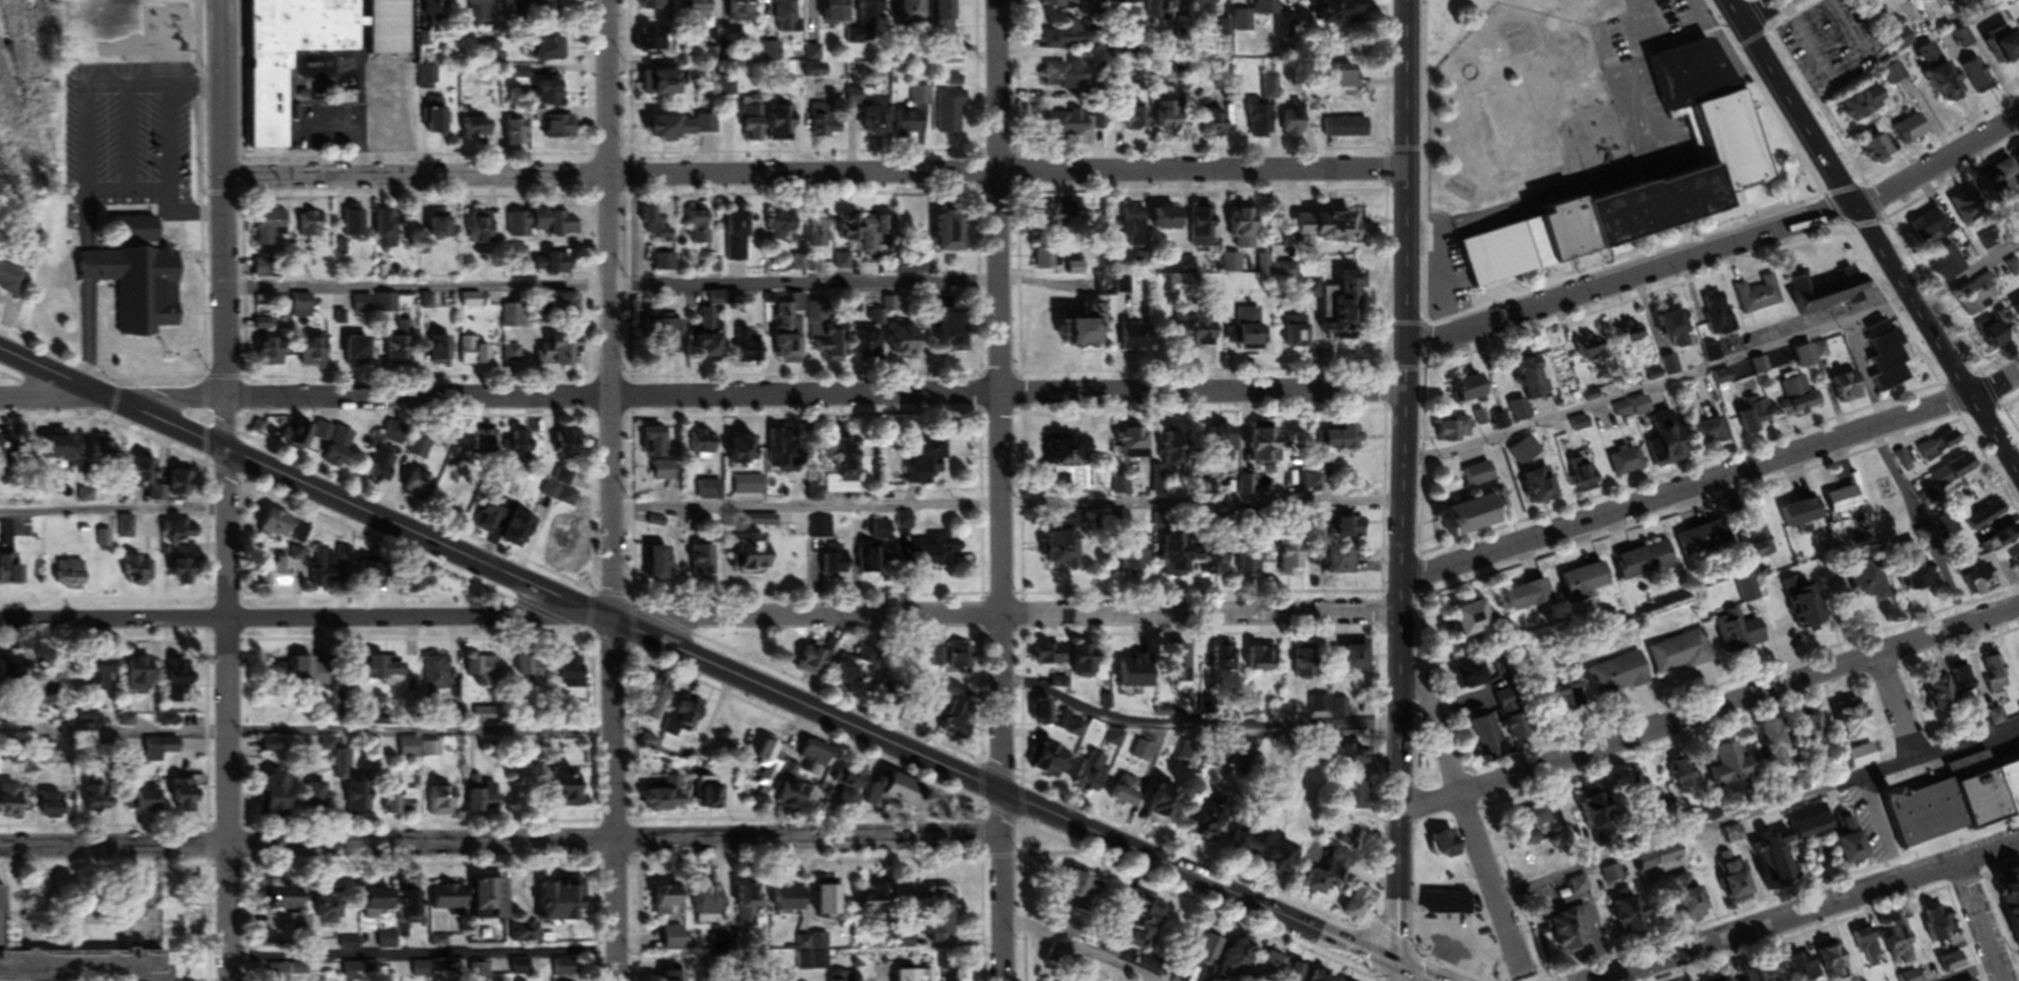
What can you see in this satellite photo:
building: (545, 3)
building: (1211, 3)
building: (1121, 4)
building: (1063, 6)
building: (653, 9)
building: (1158, 9)
building: (1261, 10)
road: (1761, 11)
building: (742, 12)
building: (871, 13)
building: (435, 14)
building: (482, 14)
building: (836, 14)
building: (913, 14)
building: (700, 15)
building: (1341, 15)
building: (787, 18)
building: (943, 19)
building: (389, 29)
building: (1068, 40)
building: (1902, 40)
building: (654, 43)
building: (2003, 46)
building: (552, 54)
building: (1348, 74)
building: (1973, 77)
building: (1067, 78)
building: (1949, 86)
building: (663, 87)
building: (726, 89)
building: (1269, 92)
building: (553, 96)
building: (920, 100)
building: (1866, 105)
building: (270, 112)
building: (391, 116)
building: (950, 116)
building: (439, 119)
building: (878, 120)
building: (1171, 120)
building: (1137, 122)
building: (753, 124)
building: (1261, 124)
building: (824, 126)
building: (1294, 126)
building: (909, 127)
building: (1074, 127)
building: (1219, 127)
building: (560, 128)
building: (783, 128)
building: (479, 130)
building: (1346, 130)
building: (675, 132)
building: (519, 137)
building: (1728, 147)
building: (1876, 149)
road: (1937, 162)
road: (815, 172)
building: (2007, 172)
building: (1967, 210)
building: (1056, 218)
building: (1170, 222)
building: (653, 223)
building: (355, 226)
building: (556, 226)
building: (313, 227)
building: (388, 227)
building: (519, 227)
building: (782, 227)
building: (442, 228)
building: (698, 228)
building: (1129, 228)
building: (1203, 228)
building: (1329, 228)
building: (270, 229)
building: (849, 229)
building: (1927, 229)
building: (1240, 230)
building: (484, 231)
building: (135, 232)
building: (819, 232)
building: (875, 235)
building: (953, 235)
road: (1873, 238)
building: (737, 240)
building: (1045, 259)
building: (665, 265)
building: (1948, 265)
building: (553, 266)
building: (913, 267)
building: (2012, 271)
road: (1629, 276)
building: (12, 283)
road: (612, 286)
building: (140, 290)
building: (1827, 291)
road: (201, 297)
building: (1975, 297)
building: (1758, 298)
building: (472, 303)
building: (386, 306)
building: (567, 308)
building: (1345, 308)
building: (302, 309)
building: (1719, 314)
building: (513, 317)
building: (876, 320)
building: (1674, 327)
building: (1085, 328)
building: (955, 330)
building: (1200, 332)
building: (1998, 332)
building: (788, 333)
building: (1299, 334)
building: (711, 335)
building: (664, 339)
building: (1137, 339)
building: (1254, 340)
building: (1632, 341)
building: (907, 344)
building: (829, 345)
building: (869, 346)
building: (399, 349)
building: (747, 349)
building: (1592, 349)
building: (359, 352)
building: (442, 352)
building: (563, 353)
building: (273, 354)
building: (314, 354)
building: (473, 355)
building: (514, 356)
building: (1806, 358)
building: (1889, 359)
road: (1716, 365)
building: (1534, 381)
road: (1994, 384)
building: (1474, 390)
building: (1850, 390)
road: (702, 395)
building: (1802, 397)
building: (1520, 413)
building: (1749, 424)
building: (1579, 428)
building: (1456, 432)
building: (301, 436)
building: (1711, 436)
building: (1339, 441)
building: (487, 442)
building: (1668, 443)
building: (569, 445)
building: (703, 445)
building: (1134, 445)
building: (1222, 445)
building: (657, 446)
building: (1268, 446)
building: (1938, 448)
building: (7, 449)
building: (58, 450)
building: (420, 451)
building: (339, 452)
building: (1177, 452)
building: (790, 453)
building: (742, 454)
building: (104, 455)
building: (1524, 455)
building: (1071, 457)
building: (929, 461)
building: (1626, 464)
building: (383, 468)
building: (847, 471)
building: (144, 473)
building: (664, 474)
building: (1952, 474)
building: (1480, 478)
building: (1583, 478)
road: (1405, 482)
building: (181, 486)
building: (1121, 489)
building: (1542, 489)
road: (1687, 489)
road: (227, 490)
building: (559, 490)
road: (612, 490)
road: (1001, 490)
building: (420, 491)
building: (710, 493)
building: (1925, 501)
building: (1843, 502)
road: (1008, 510)
building: (1802, 514)
road: (113, 516)
building: (1478, 517)
building: (1984, 519)
building: (276, 526)
building: (1944, 529)
building: (820, 530)
building: (1354, 530)
building: (523, 532)
building: (568, 541)
building: (1702, 542)
building: (1756, 546)
building: (1063, 551)
building: (755, 555)
building: (940, 556)
building: (1293, 556)
building: (1179, 558)
building: (872, 560)
building: (295, 562)
building: (837, 562)
building: (1136, 563)
building: (1236, 563)
building: (1345, 563)
building: (1645, 563)
building: (704, 565)
building: (662, 566)
building: (1919, 566)
building: (2015, 566)
building: (139, 574)
building: (11, 575)
building: (183, 576)
building: (71, 577)
building: (373, 578)
building: (1980, 583)
building: (415, 584)
building: (1584, 584)
building: (1869, 585)
building: (1746, 590)
building: (1530, 598)
building: (1802, 607)
road: (1007, 613)
road: (306, 617)
building: (1474, 622)
building: (1738, 633)
building: (1679, 655)
road: (698, 657)
building: (1050, 657)
building: (950, 659)
building: (1356, 659)
building: (1265, 660)
building: (1087, 663)
building: (1306, 664)
building: (815, 665)
building: (300, 672)
building: (854, 672)
building: (484, 673)
building: (530, 673)
building: (381, 674)
building: (140, 675)
building: (1993, 675)
building: (573, 676)
building: (1137, 677)
building: (1475, 677)
building: (101, 678)
building: (436, 678)
building: (1616, 678)
building: (14, 679)
building: (55, 679)
building: (179, 687)
building: (1942, 694)
building: (893, 695)
building: (656, 700)
building: (1321, 707)
road: (1895, 708)
road: (1711, 711)
building: (1047, 715)
building: (87, 720)
building: (1995, 720)
building: (681, 721)
building: (1856, 721)
building: (61, 726)
road: (1183, 726)
building: (1513, 726)
building: (1816, 730)
building: (954, 732)
road: (306, 736)
building: (1487, 740)
building: (1115, 742)
building: (159, 751)
building: (409, 751)
building: (1144, 755)
building: (773, 756)
building: (1189, 757)
building: (1360, 758)
building: (1754, 759)
building: (1863, 759)
building: (815, 762)
building: (1056, 764)
building: (1681, 775)
building: (1094, 776)
building: (569, 791)
building: (853, 792)
building: (1127, 794)
building: (903, 797)
building: (276, 798)
building: (317, 798)
building: (670, 798)
building: (188, 799)
building: (712, 799)
building: (795, 799)
building: (1959, 799)
building: (1357, 800)
building: (148, 801)
building: (361, 801)
building: (486, 802)
building: (442, 803)
building: (402, 804)
building: (12, 805)
building: (1167, 806)
building: (56, 808)
building: (106, 808)
road: (1758, 812)
building: (1596, 815)
parking lot: (1875, 819)
road: (1469, 820)
building: (1535, 820)
building: (1734, 838)
road: (502, 842)
building: (1249, 845)
building: (1448, 848)
building: (1772, 854)
building: (1661, 860)
building: (1284, 861)
building: (1610, 878)
building: (1331, 880)
building: (1736, 880)
building: (1083, 890)
building: (1578, 890)
building: (290, 901)
building: (450, 901)
building: (830, 901)
building: (1692, 901)
building: (493, 902)
building: (563, 903)
building: (792, 903)
building: (669, 904)
building: (873, 904)
building: (710, 905)
building: (748, 906)
building: (1447, 907)
building: (330, 908)
road: (1801, 912)
building: (940, 917)
building: (1637, 919)
road: (1979, 920)
building: (410, 923)
building: (300, 925)
building: (1144, 927)
building: (2011, 931)
building: (1571, 935)
building: (674, 942)
building: (1902, 946)
building: (1868, 948)
road: (1077, 950)
building: (1208, 955)
building: (1240, 961)
building: (77, 963)
building: (811, 964)
traffic signals: (1398, 964)
building: (1819, 965)
road: (423, 966)
building: (1956, 966)
building: (1276, 968)
road: (1986, 969)
building: (520, 970)
building: (684, 971)
building: (1299, 972)
road: (1398, 972)
road: (1416, 972)
building: (917, 977)
building: (1759, 977)
building: (840, 978)
building: (1323, 978)
building: (1910, 978)
building: (861, 980)

